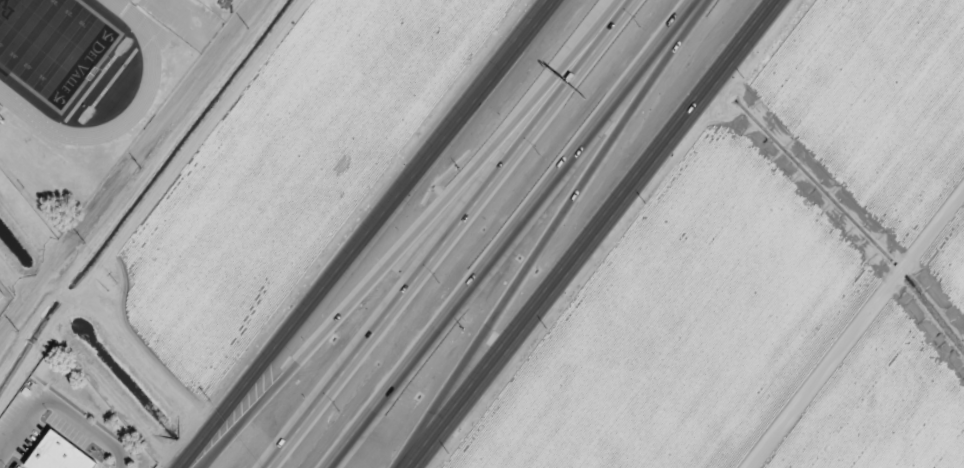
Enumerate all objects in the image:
parking lot: (186, 20)
road: (193, 22)
park: (51, 44)
track: (150, 70)
stadium: (78, 93)
road: (128, 164)
road: (558, 232)
road: (420, 233)
road: (594, 233)
road: (369, 234)
road: (458, 234)
road: (517, 234)
building: (0, 296)
road: (858, 333)
building: (57, 453)

